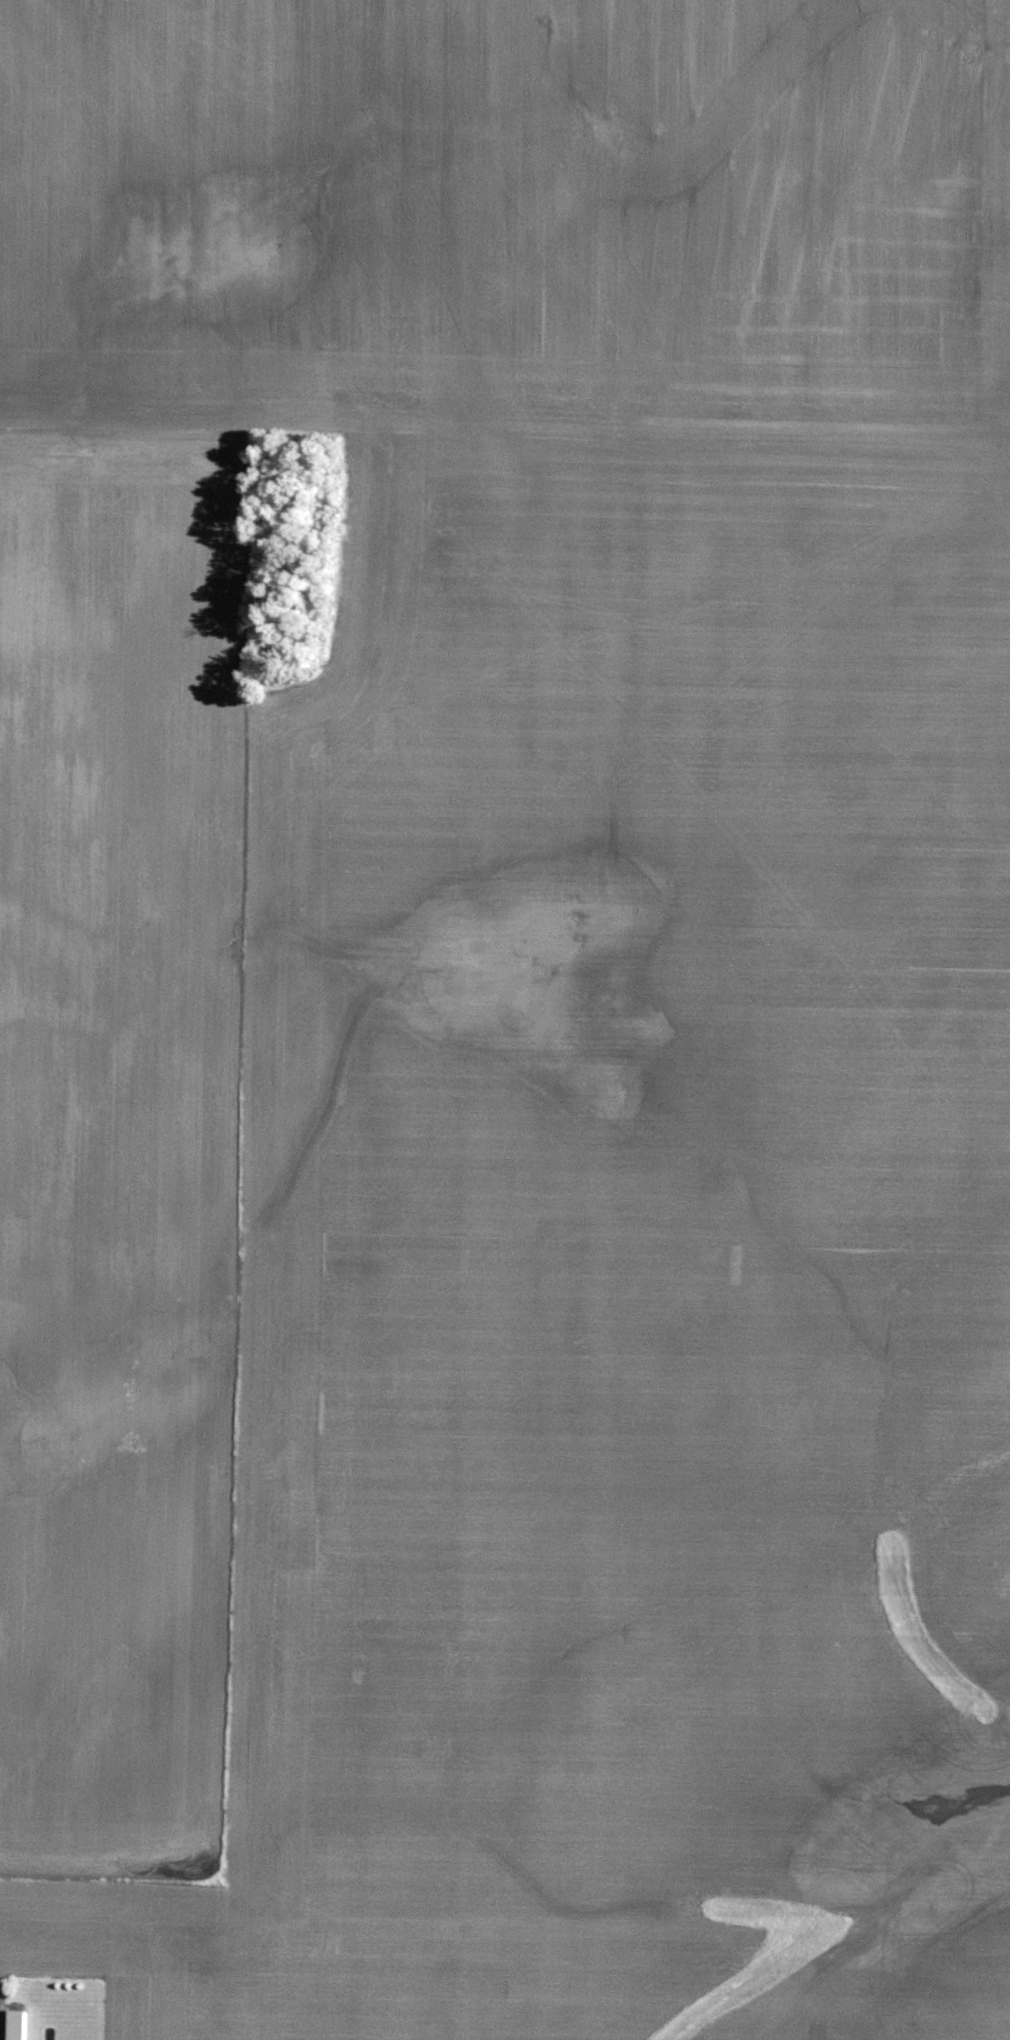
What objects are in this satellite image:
building: (17, 2024)

